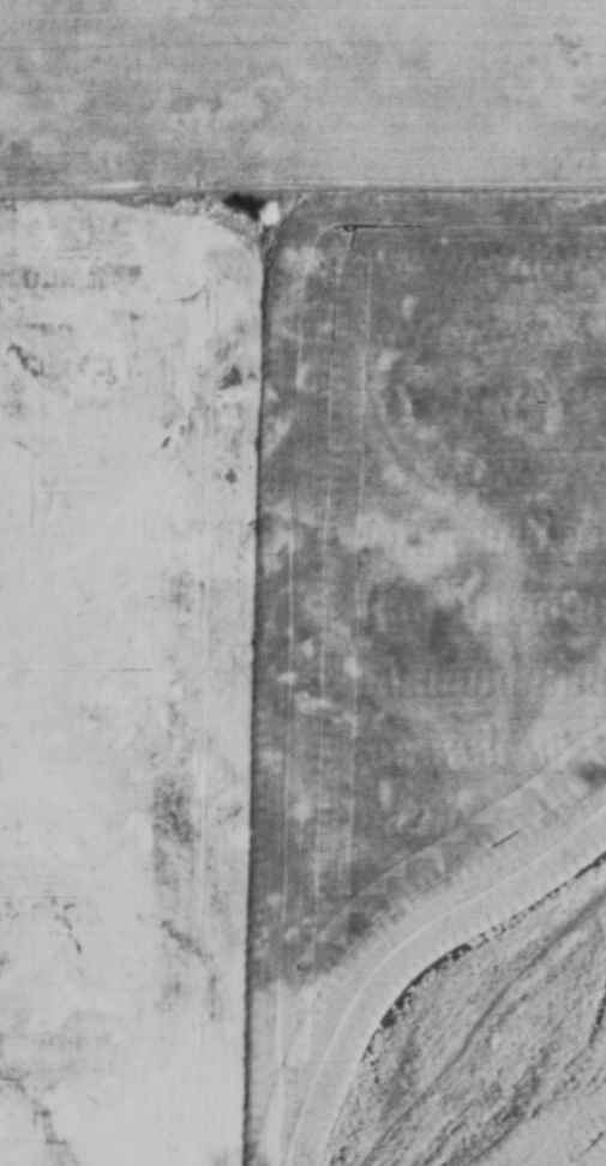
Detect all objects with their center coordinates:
road: (302, 180)

